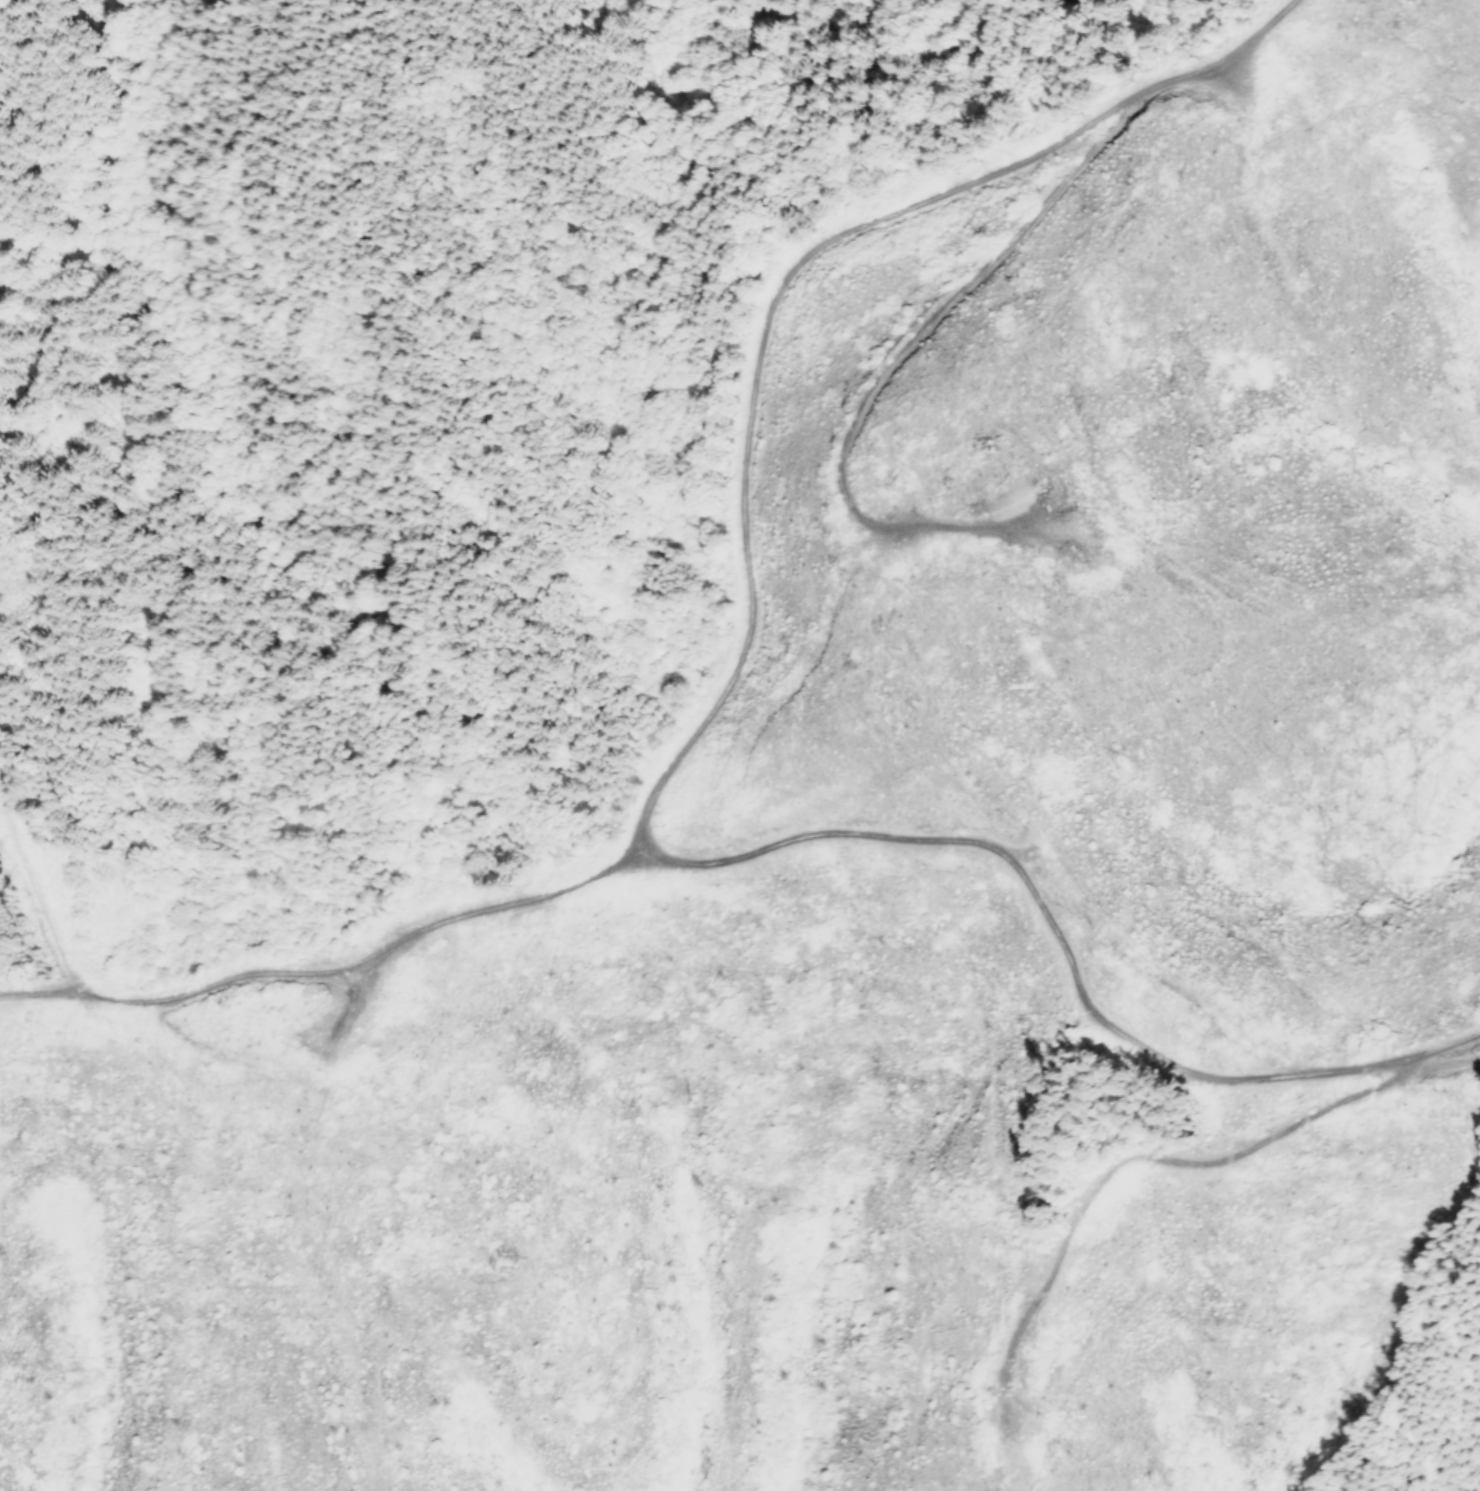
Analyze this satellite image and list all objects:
road: (716, 601)
road: (1056, 885)

